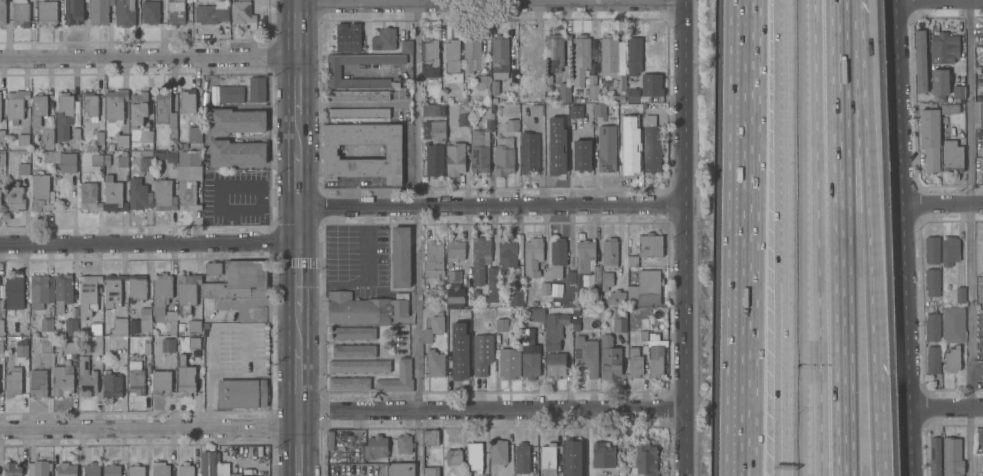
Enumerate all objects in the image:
road: (933, 0)
road: (488, 2)
building: (99, 12)
building: (2, 13)
building: (20, 13)
building: (72, 13)
building: (124, 13)
building: (150, 13)
building: (175, 13)
building: (46, 14)
building: (211, 14)
building: (243, 14)
road: (295, 29)
building: (347, 37)
building: (383, 40)
building: (405, 47)
building: (944, 48)
building: (526, 50)
building: (430, 51)
building: (554, 51)
building: (471, 55)
building: (633, 56)
building: (452, 57)
building: (499, 57)
road: (147, 59)
building: (579, 59)
building: (920, 59)
building: (612, 63)
building: (333, 72)
building: (548, 80)
building: (939, 80)
building: (481, 82)
building: (537, 85)
road: (295, 86)
building: (591, 87)
building: (650, 87)
building: (494, 88)
building: (256, 90)
building: (563, 93)
building: (958, 93)
building: (230, 95)
building: (358, 96)
building: (523, 96)
building: (633, 96)
building: (619, 99)
building: (492, 101)
building: (575, 101)
building: (187, 102)
building: (15, 106)
building: (90, 106)
building: (115, 106)
building: (342, 107)
building: (950, 107)
building: (553, 108)
building: (138, 109)
building: (38, 110)
building: (433, 111)
building: (535, 111)
building: (598, 111)
building: (165, 112)
building: (575, 112)
building: (357, 114)
building: (981, 115)
building: (63, 116)
building: (462, 121)
building: (236, 122)
building: (423, 124)
building: (623, 125)
building: (511, 126)
building: (550, 126)
building: (436, 131)
road: (295, 133)
building: (979, 133)
building: (75, 134)
building: (195, 135)
road: (779, 135)
building: (146, 137)
building: (929, 137)
building: (2, 138)
building: (99, 138)
building: (47, 139)
building: (22, 141)
building: (122, 143)
building: (183, 146)
building: (650, 146)
building: (480, 147)
building: (606, 149)
building: (392, 152)
building: (236, 153)
building: (528, 154)
road: (840, 154)
building: (952, 155)
building: (581, 156)
building: (630, 156)
building: (48, 157)
building: (166, 157)
building: (503, 157)
building: (189, 159)
building: (557, 159)
building: (2, 160)
building: (454, 160)
building: (96, 161)
building: (107, 161)
building: (433, 161)
building: (122, 162)
building: (66, 163)
building: (144, 165)
building: (22, 170)
building: (982, 172)
road: (296, 180)
road: (866, 181)
building: (40, 194)
building: (113, 196)
building: (139, 196)
building: (164, 196)
building: (187, 197)
building: (14, 198)
building: (89, 198)
road: (940, 203)
road: (489, 207)
road: (296, 225)
road: (418, 238)
road: (682, 238)
road: (750, 238)
road: (816, 238)
road: (899, 238)
road: (970, 238)
road: (148, 244)
building: (649, 246)
building: (932, 248)
building: (950, 249)
building: (454, 252)
building: (609, 254)
building: (507, 256)
building: (584, 256)
building: (400, 257)
building: (532, 258)
building: (557, 258)
building: (480, 259)
building: (433, 260)
building: (632, 262)
building: (213, 270)
building: (596, 274)
road: (296, 277)
building: (570, 278)
road: (366, 279)
building: (606, 281)
building: (932, 281)
building: (239, 282)
building: (501, 282)
building: (979, 283)
building: (491, 286)
building: (137, 288)
building: (544, 289)
building: (645, 290)
building: (112, 291)
building: (41, 292)
building: (14, 293)
building: (62, 293)
building: (161, 293)
building: (187, 293)
building: (960, 293)
building: (88, 295)
building: (456, 297)
building: (616, 298)
building: (515, 299)
building: (567, 305)
building: (365, 309)
building: (535, 315)
building: (619, 321)
building: (140, 322)
building: (171, 323)
building: (576, 323)
building: (953, 323)
building: (47, 326)
building: (70, 326)
building: (205, 326)
road: (221, 326)
building: (501, 326)
building: (194, 327)
building: (433, 327)
building: (453, 327)
building: (650, 327)
building: (1, 328)
building: (118, 328)
building: (20, 329)
building: (95, 329)
road: (297, 330)
building: (553, 331)
building: (353, 334)
building: (642, 336)
building: (653, 338)
building: (932, 343)
building: (194, 344)
building: (45, 345)
building: (168, 345)
building: (1, 347)
building: (70, 347)
building: (21, 348)
building: (147, 349)
building: (353, 351)
building: (481, 354)
building: (585, 356)
building: (952, 358)
building: (609, 360)
building: (655, 361)
building: (634, 363)
building: (458, 364)
building: (508, 364)
building: (433, 365)
building: (530, 365)
building: (555, 365)
building: (358, 367)
road: (777, 373)
road: (781, 373)
building: (982, 374)
building: (403, 376)
building: (185, 378)
building: (86, 379)
building: (136, 379)
building: (63, 381)
building: (13, 383)
building: (161, 383)
building: (38, 384)
road: (297, 384)
building: (348, 385)
building: (384, 385)
building: (111, 386)
road: (843, 392)
building: (241, 394)
road: (945, 408)
road: (340, 412)
road: (875, 420)
building: (979, 434)
building: (429, 438)
building: (329, 441)
building: (403, 445)
road: (297, 447)
building: (374, 448)
building: (340, 452)
building: (498, 452)
building: (935, 455)
building: (602, 456)
building: (573, 457)
building: (952, 457)
building: (453, 458)
building: (474, 458)
building: (522, 459)
building: (547, 460)
building: (645, 461)
building: (213, 466)
building: (39, 469)
building: (160, 469)
building: (12, 470)
building: (66, 470)
building: (92, 470)
building: (111, 470)
building: (185, 470)
building: (400, 470)
building: (136, 471)
building: (430, 472)

